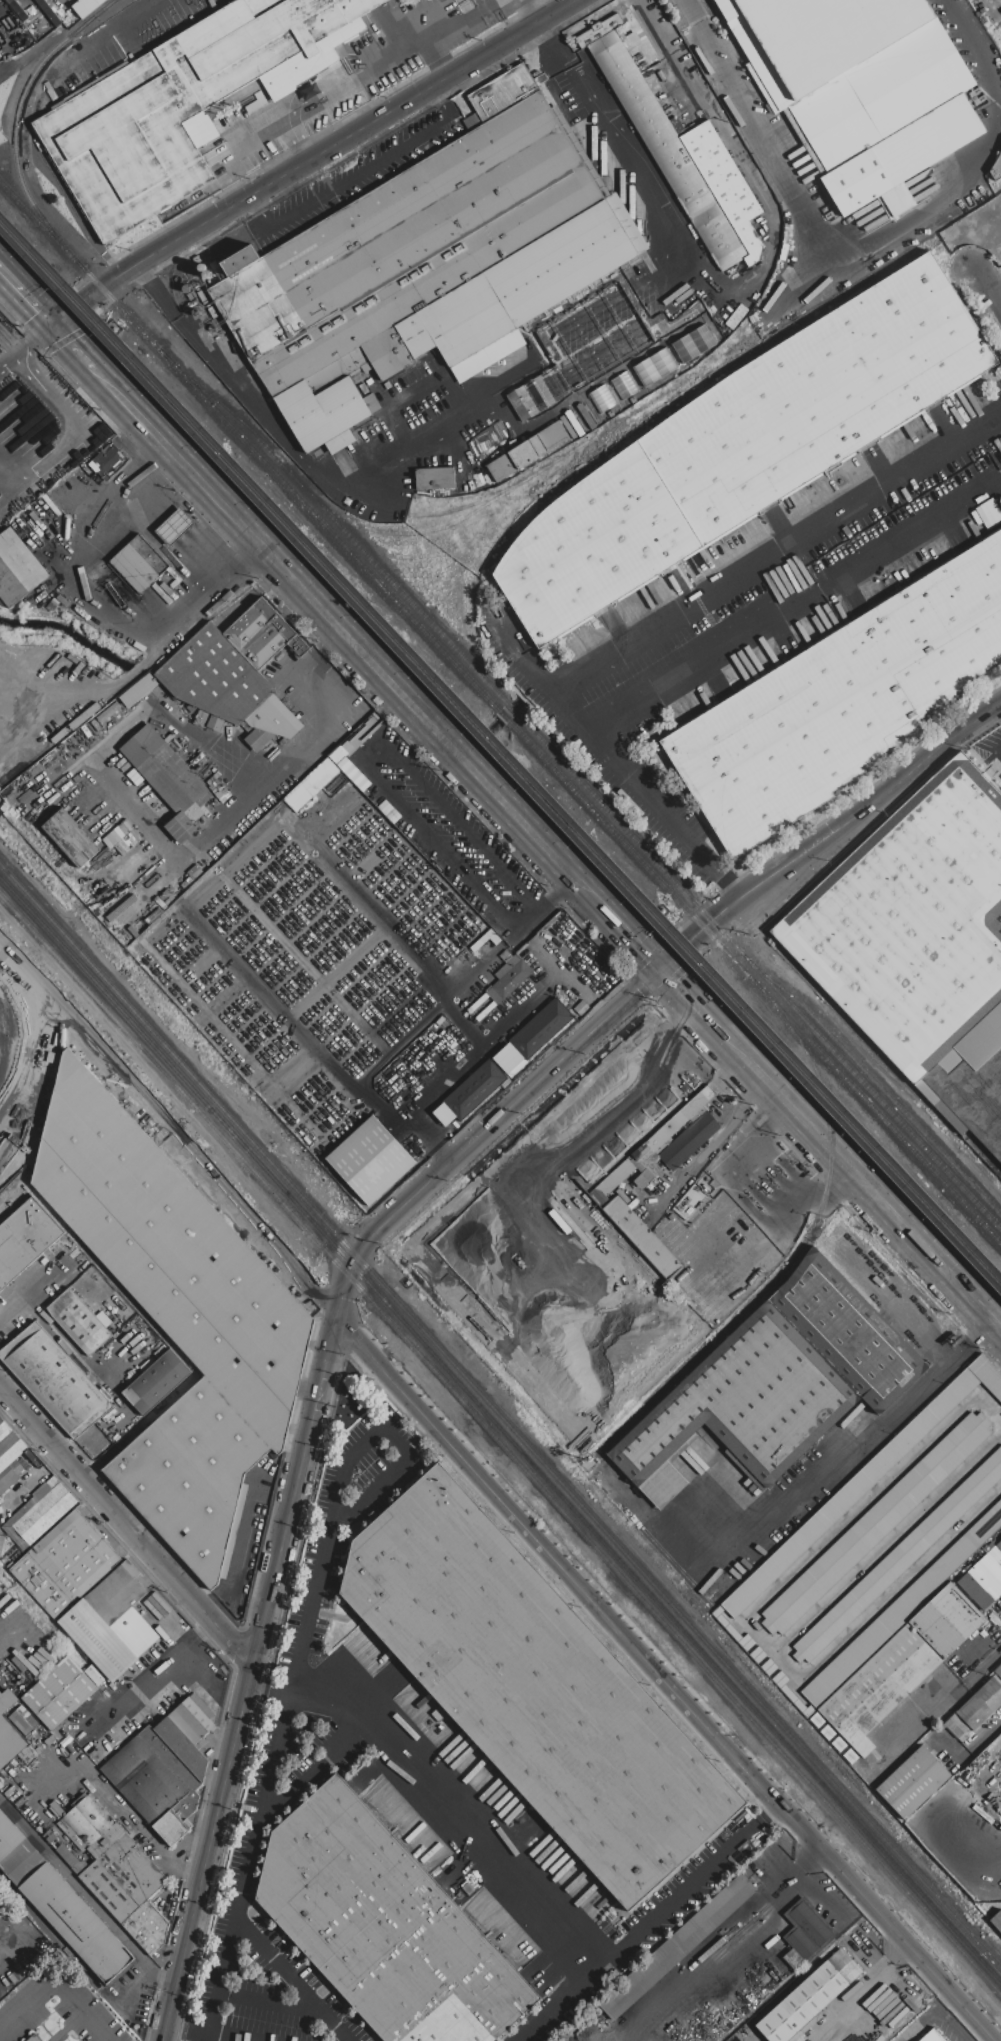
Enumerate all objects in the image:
road: (493, 1)
road: (380, 2)
building: (86, 7)
road: (492, 20)
road: (449, 24)
road: (395, 26)
road: (104, 35)
building: (859, 86)
road: (330, 96)
building: (189, 103)
railway: (16, 124)
road: (622, 150)
road: (315, 159)
building: (686, 161)
road: (742, 162)
building: (996, 168)
road: (356, 173)
road: (52, 176)
building: (896, 199)
road: (866, 247)
road: (27, 264)
building: (427, 265)
railway: (54, 267)
railway: (51, 276)
road: (993, 285)
road: (26, 295)
road: (604, 306)
road: (72, 312)
building: (693, 343)
road: (73, 344)
road: (26, 348)
road: (568, 365)
building: (654, 366)
road: (534, 375)
road: (440, 377)
railway: (711, 380)
building: (601, 398)
railway: (647, 406)
road: (463, 413)
road: (261, 417)
road: (79, 437)
railway: (249, 444)
building: (744, 446)
building: (527, 452)
building: (110, 459)
railway: (310, 467)
building: (435, 479)
road: (11, 498)
railway: (337, 522)
building: (175, 527)
building: (139, 564)
building: (17, 568)
road: (722, 587)
road: (100, 605)
road: (773, 619)
road: (348, 635)
road: (384, 644)
building: (234, 674)
building: (841, 701)
railway: (512, 709)
railway: (506, 714)
road: (358, 758)
building: (166, 770)
railway: (555, 802)
road: (655, 806)
railway: (554, 811)
building: (180, 827)
road: (832, 836)
building: (71, 837)
railway: (26, 848)
road: (172, 858)
road: (729, 890)
road: (556, 891)
road: (389, 933)
road: (633, 936)
building: (921, 943)
traffic signals: (665, 969)
railway: (758, 972)
building: (509, 978)
railway: (755, 982)
road: (693, 1002)
road: (516, 1018)
building: (541, 1028)
road: (668, 1031)
road: (38, 1057)
building: (508, 1057)
railway: (873, 1080)
building: (476, 1089)
road: (427, 1096)
railway: (920, 1103)
building: (445, 1114)
road: (172, 1126)
road: (485, 1133)
building: (690, 1140)
road: (714, 1142)
railway: (984, 1151)
building: (372, 1159)
road: (861, 1181)
building: (608, 1185)
road: (747, 1205)
building: (25, 1239)
road: (34, 1290)
building: (179, 1317)
building: (79, 1321)
road: (978, 1333)
road: (75, 1350)
building: (55, 1380)
building: (157, 1382)
building: (777, 1382)
building: (171, 1397)
railway: (501, 1415)
road: (30, 1421)
railway: (500, 1429)
railway: (501, 1444)
building: (9, 1445)
road: (466, 1459)
building: (34, 1460)
road: (843, 1461)
building: (10, 1476)
road: (385, 1478)
road: (35, 1479)
building: (864, 1482)
road: (294, 1492)
road: (258, 1498)
building: (40, 1512)
building: (876, 1523)
building: (2, 1544)
building: (997, 1552)
building: (900, 1557)
road: (156, 1561)
building: (67, 1564)
building: (991, 1566)
building: (985, 1580)
building: (975, 1591)
building: (117, 1592)
building: (898, 1612)
building: (947, 1620)
building: (138, 1631)
road: (7, 1637)
building: (98, 1639)
road: (642, 1659)
road: (984, 1669)
building: (998, 1670)
road: (150, 1672)
building: (95, 1674)
building: (879, 1687)
road: (270, 1688)
building: (534, 1688)
building: (60, 1693)
building: (975, 1710)
building: (193, 1718)
building: (24, 1720)
road: (283, 1725)
road: (923, 1728)
building: (9, 1731)
building: (184, 1748)
building: (28, 1754)
road: (318, 1768)
building: (913, 1782)
building: (154, 1783)
road: (109, 1801)
road: (457, 1809)
building: (86, 1822)
building: (8, 1836)
building: (106, 1840)
road: (209, 1846)
building: (65, 1853)
building: (22, 1862)
building: (123, 1878)
road: (837, 1880)
road: (810, 1888)
building: (1, 1903)
building: (62, 1908)
building: (997, 1921)
road: (647, 1925)
building: (147, 1927)
building: (385, 1927)
building: (808, 1929)
road: (6, 1934)
building: (677, 1946)
building: (106, 1956)
road: (712, 1959)
road: (161, 1974)
road: (140, 1976)
road: (291, 1982)
road: (55, 1983)
building: (751, 1997)
building: (810, 1997)
road: (269, 1999)
road: (938, 2000)
road: (919, 2022)
road: (951, 2024)
road: (187, 2031)
road: (164, 2033)
building: (934, 2036)
building: (35, 2038)

